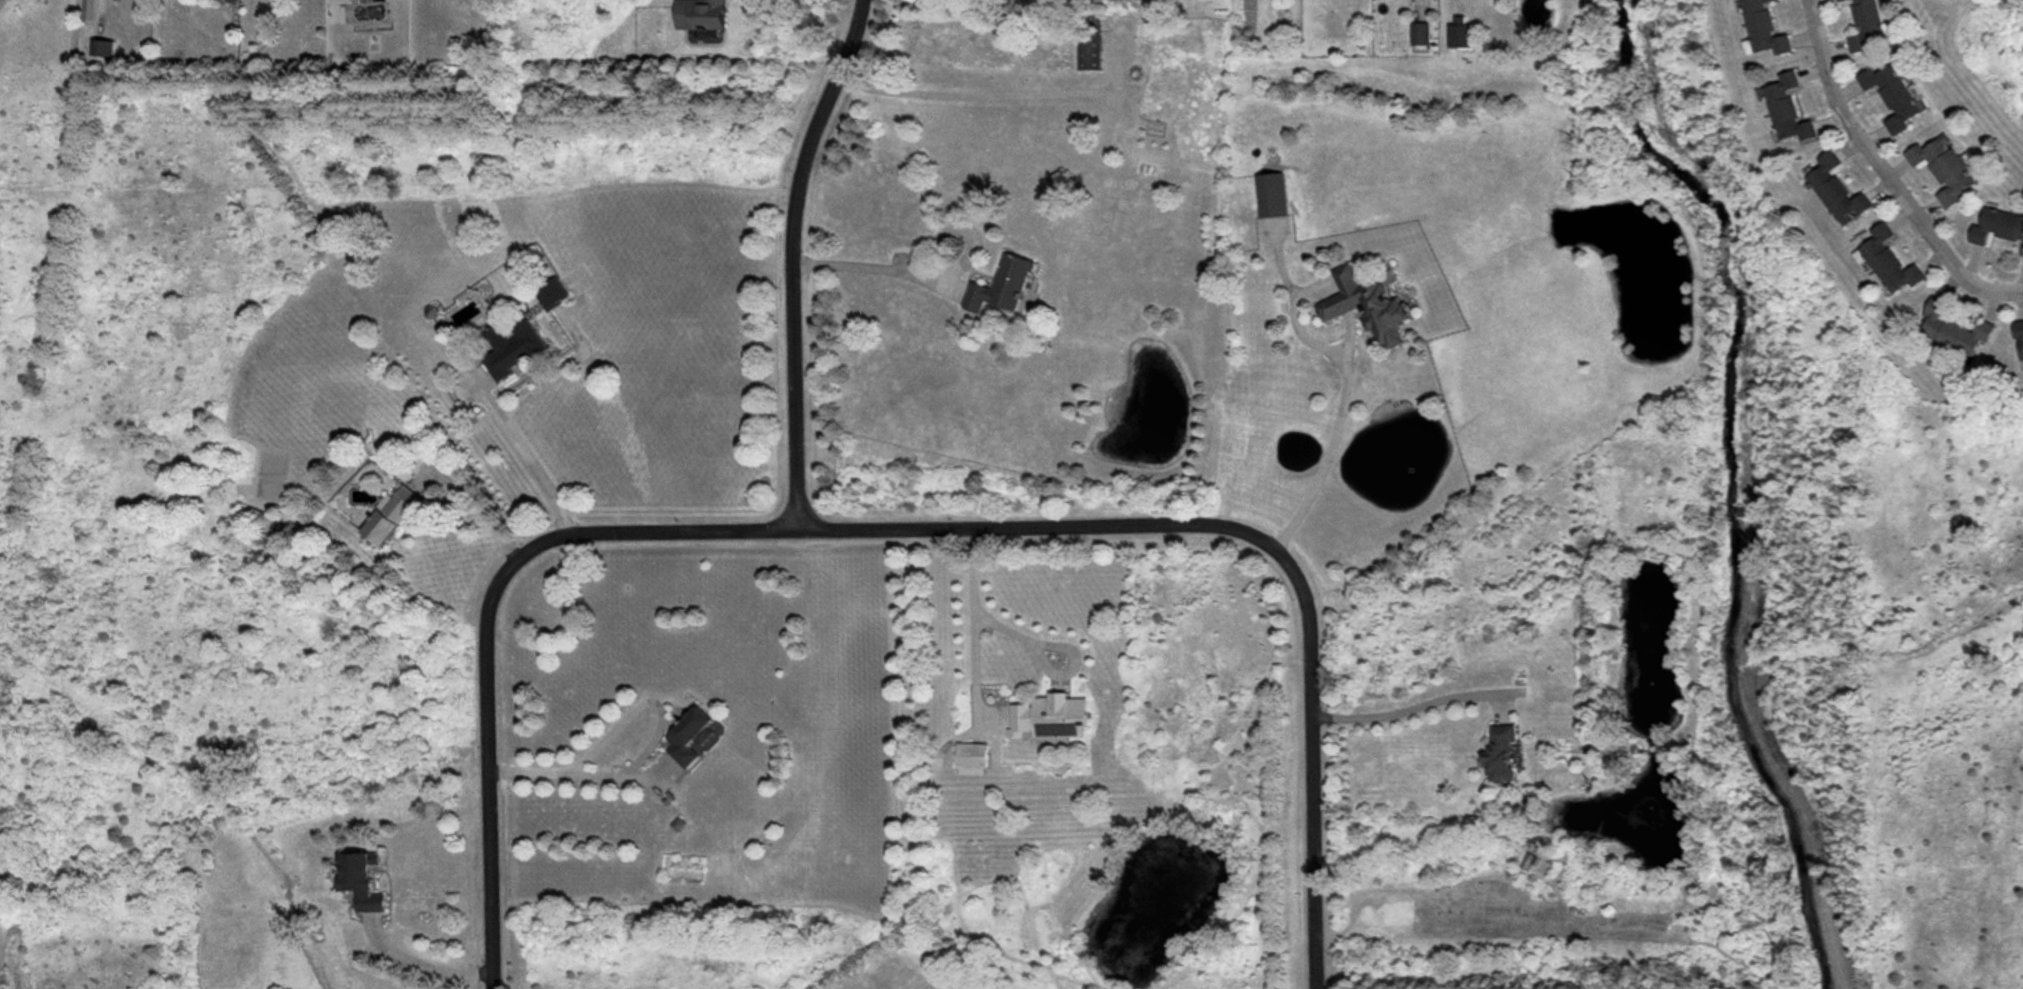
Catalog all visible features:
building: (232, 0)
building: (1837, 1)
building: (1859, 6)
building: (91, 9)
road: (97, 10)
building: (1749, 10)
building: (696, 13)
building: (1454, 29)
building: (1862, 32)
building: (1414, 33)
building: (1763, 38)
building: (98, 44)
building: (1089, 51)
building: (1878, 77)
building: (1777, 90)
road: (966, 95)
building: (1898, 105)
building: (1791, 124)
building: (1929, 152)
building: (1822, 173)
road: (1884, 173)
building: (1950, 182)
building: (1271, 195)
building: (1845, 201)
building: (1983, 223)
building: (2012, 232)
building: (1874, 241)
road: (792, 257)
road: (872, 269)
building: (1894, 272)
building: (995, 284)
building: (1360, 306)
building: (1931, 318)
building: (511, 328)
building: (1964, 332)
building: (2015, 335)
road: (1327, 453)
road: (525, 454)
road: (477, 505)
building: (386, 513)
road: (900, 527)
road: (972, 613)
road: (1043, 663)
road: (1407, 710)
building: (1044, 717)
building: (690, 734)
road: (646, 750)
building: (1494, 756)
building: (972, 759)
building: (354, 883)
road: (420, 963)

